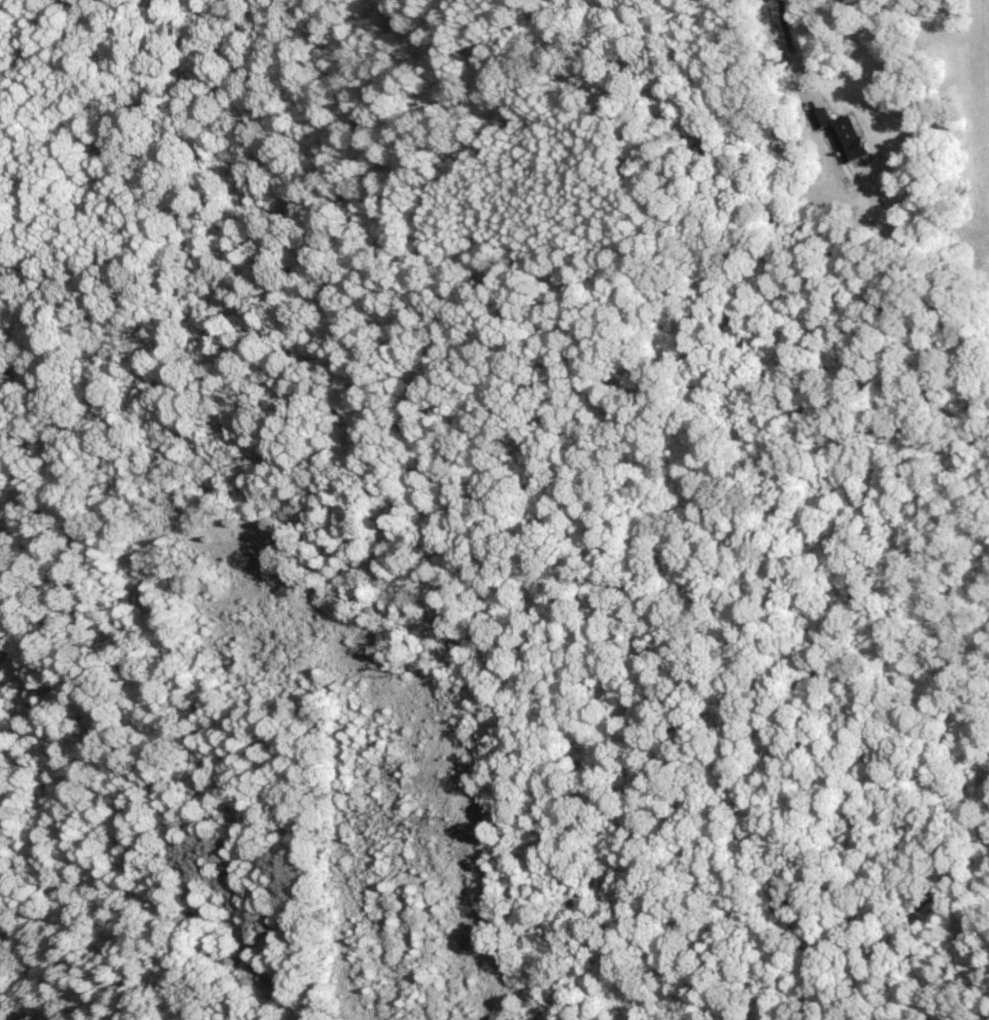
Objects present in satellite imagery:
building: (838, 133)

